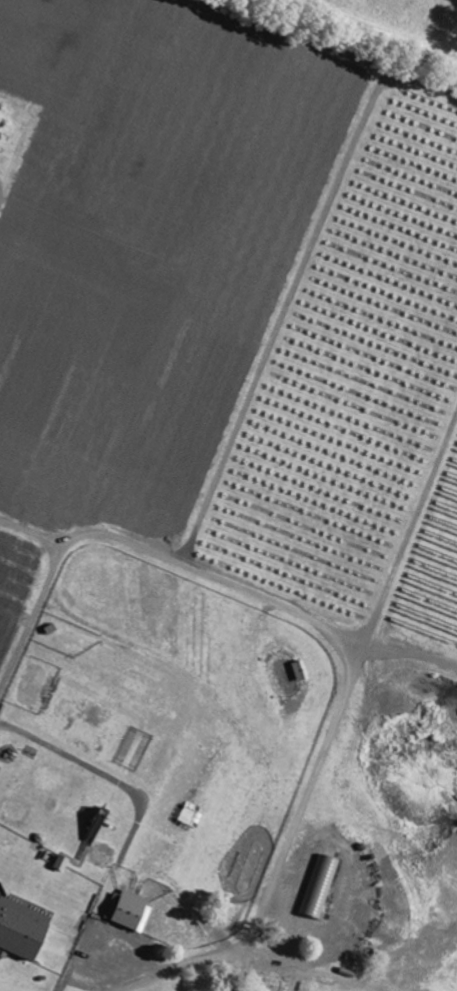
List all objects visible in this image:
road: (339, 43)
road: (7, 196)
park: (224, 509)
road: (40, 530)
road: (306, 609)
road: (27, 635)
road: (140, 818)
building: (316, 887)
building: (125, 911)
road: (228, 916)
building: (21, 928)
building: (265, 983)

